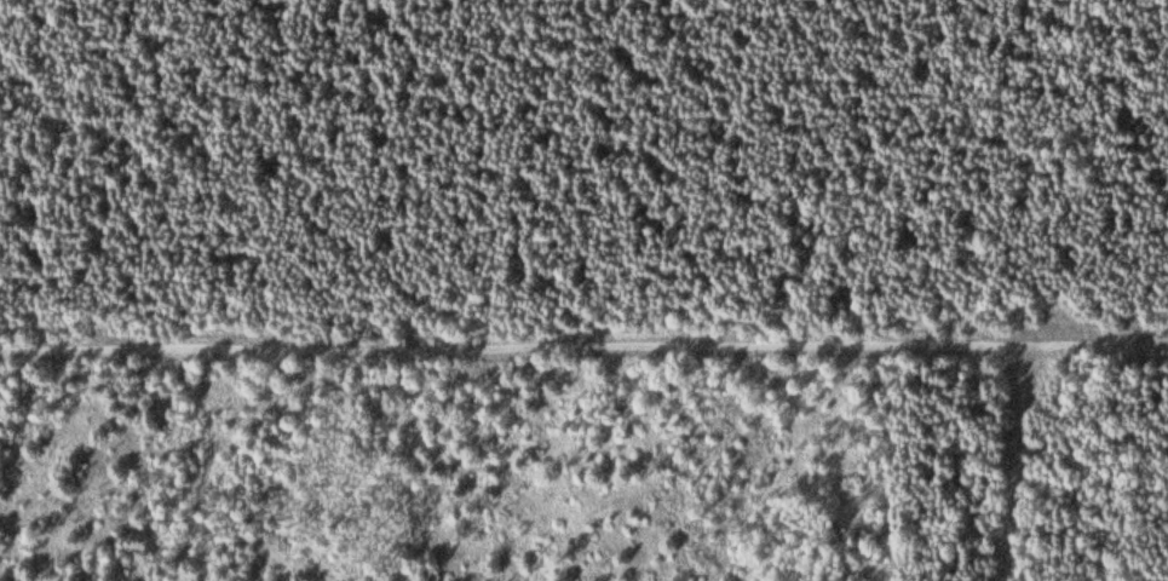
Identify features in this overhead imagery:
road: (583, 347)
road: (1020, 461)
road: (200, 466)

